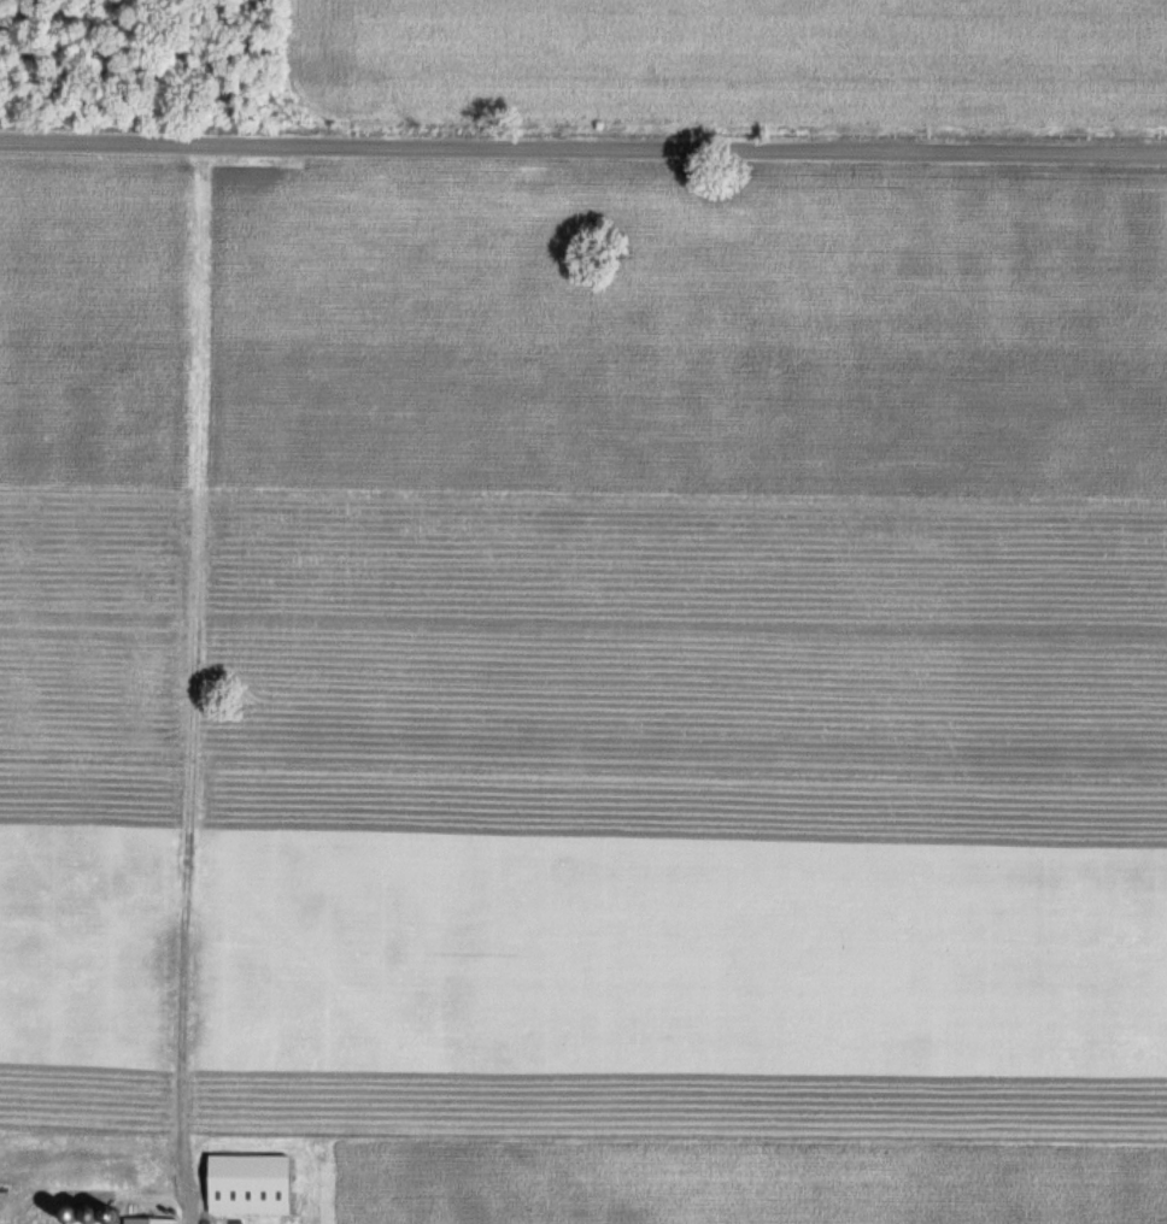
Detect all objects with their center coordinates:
road: (583, 148)
building: (258, 1183)
building: (90, 1213)
road: (188, 1218)

